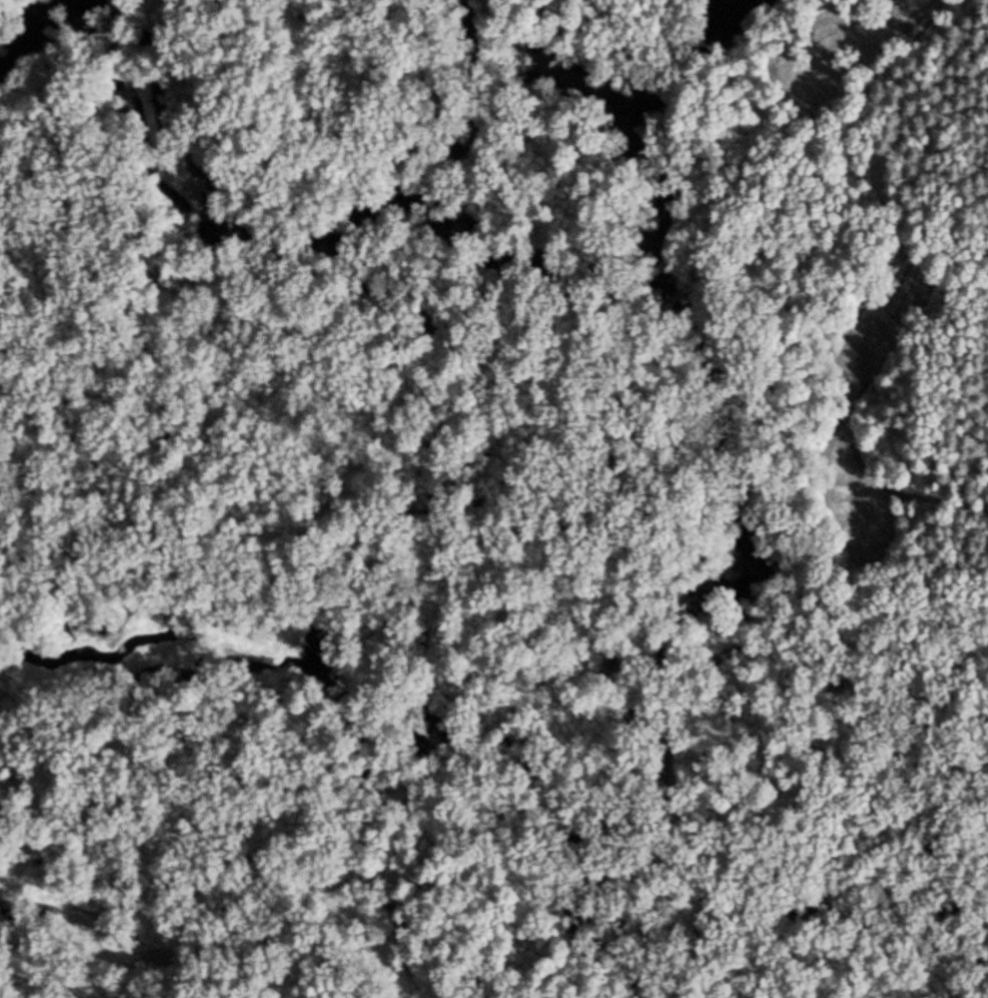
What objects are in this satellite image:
river: (63, 747)

